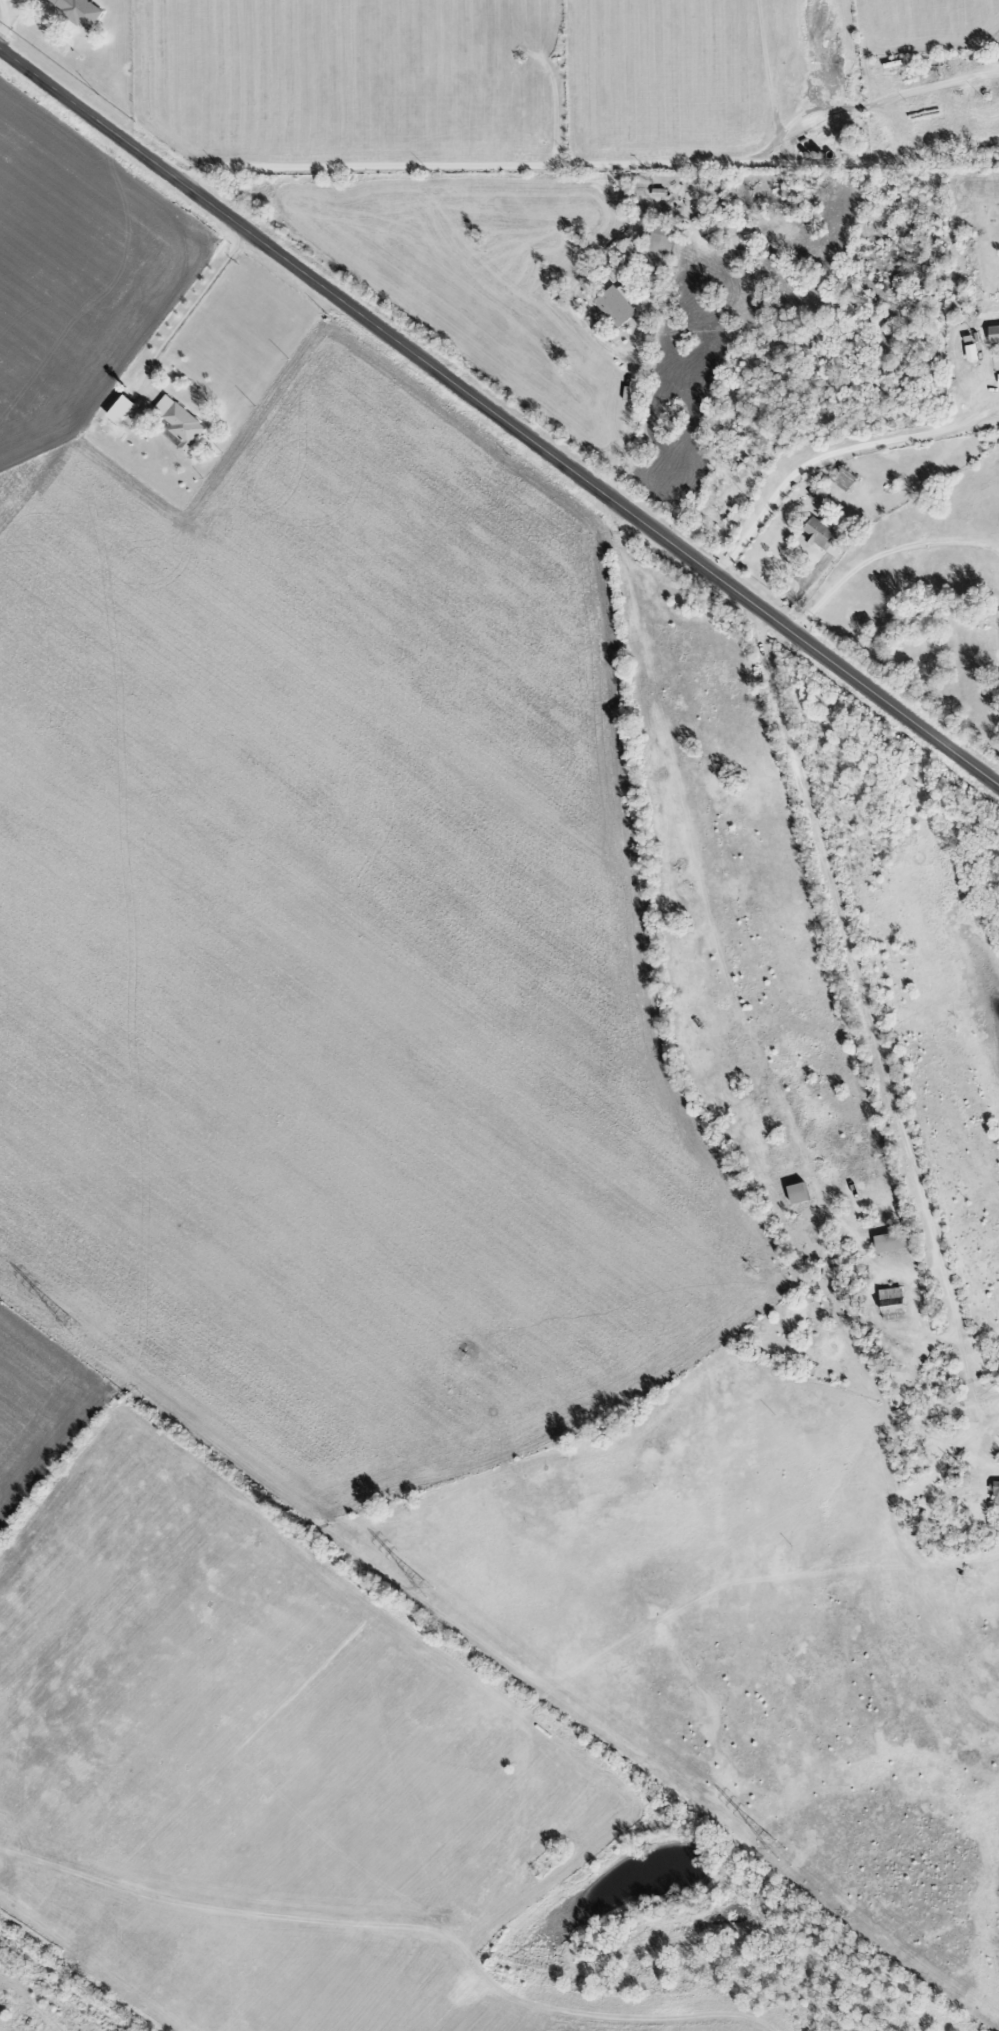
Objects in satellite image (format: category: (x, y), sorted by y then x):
building: (78, 11)
road: (591, 166)
building: (660, 241)
building: (616, 305)
road: (191, 310)
road: (574, 312)
building: (993, 335)
building: (970, 353)
building: (998, 379)
building: (121, 410)
road: (499, 417)
building: (178, 424)
road: (835, 455)
building: (844, 480)
building: (820, 535)
road: (882, 555)
road: (874, 1039)
building: (797, 1194)
building: (891, 1242)
building: (892, 1304)
power tower: (74, 1326)
building: (996, 1494)
power tower: (427, 1588)
power tower: (777, 1851)

